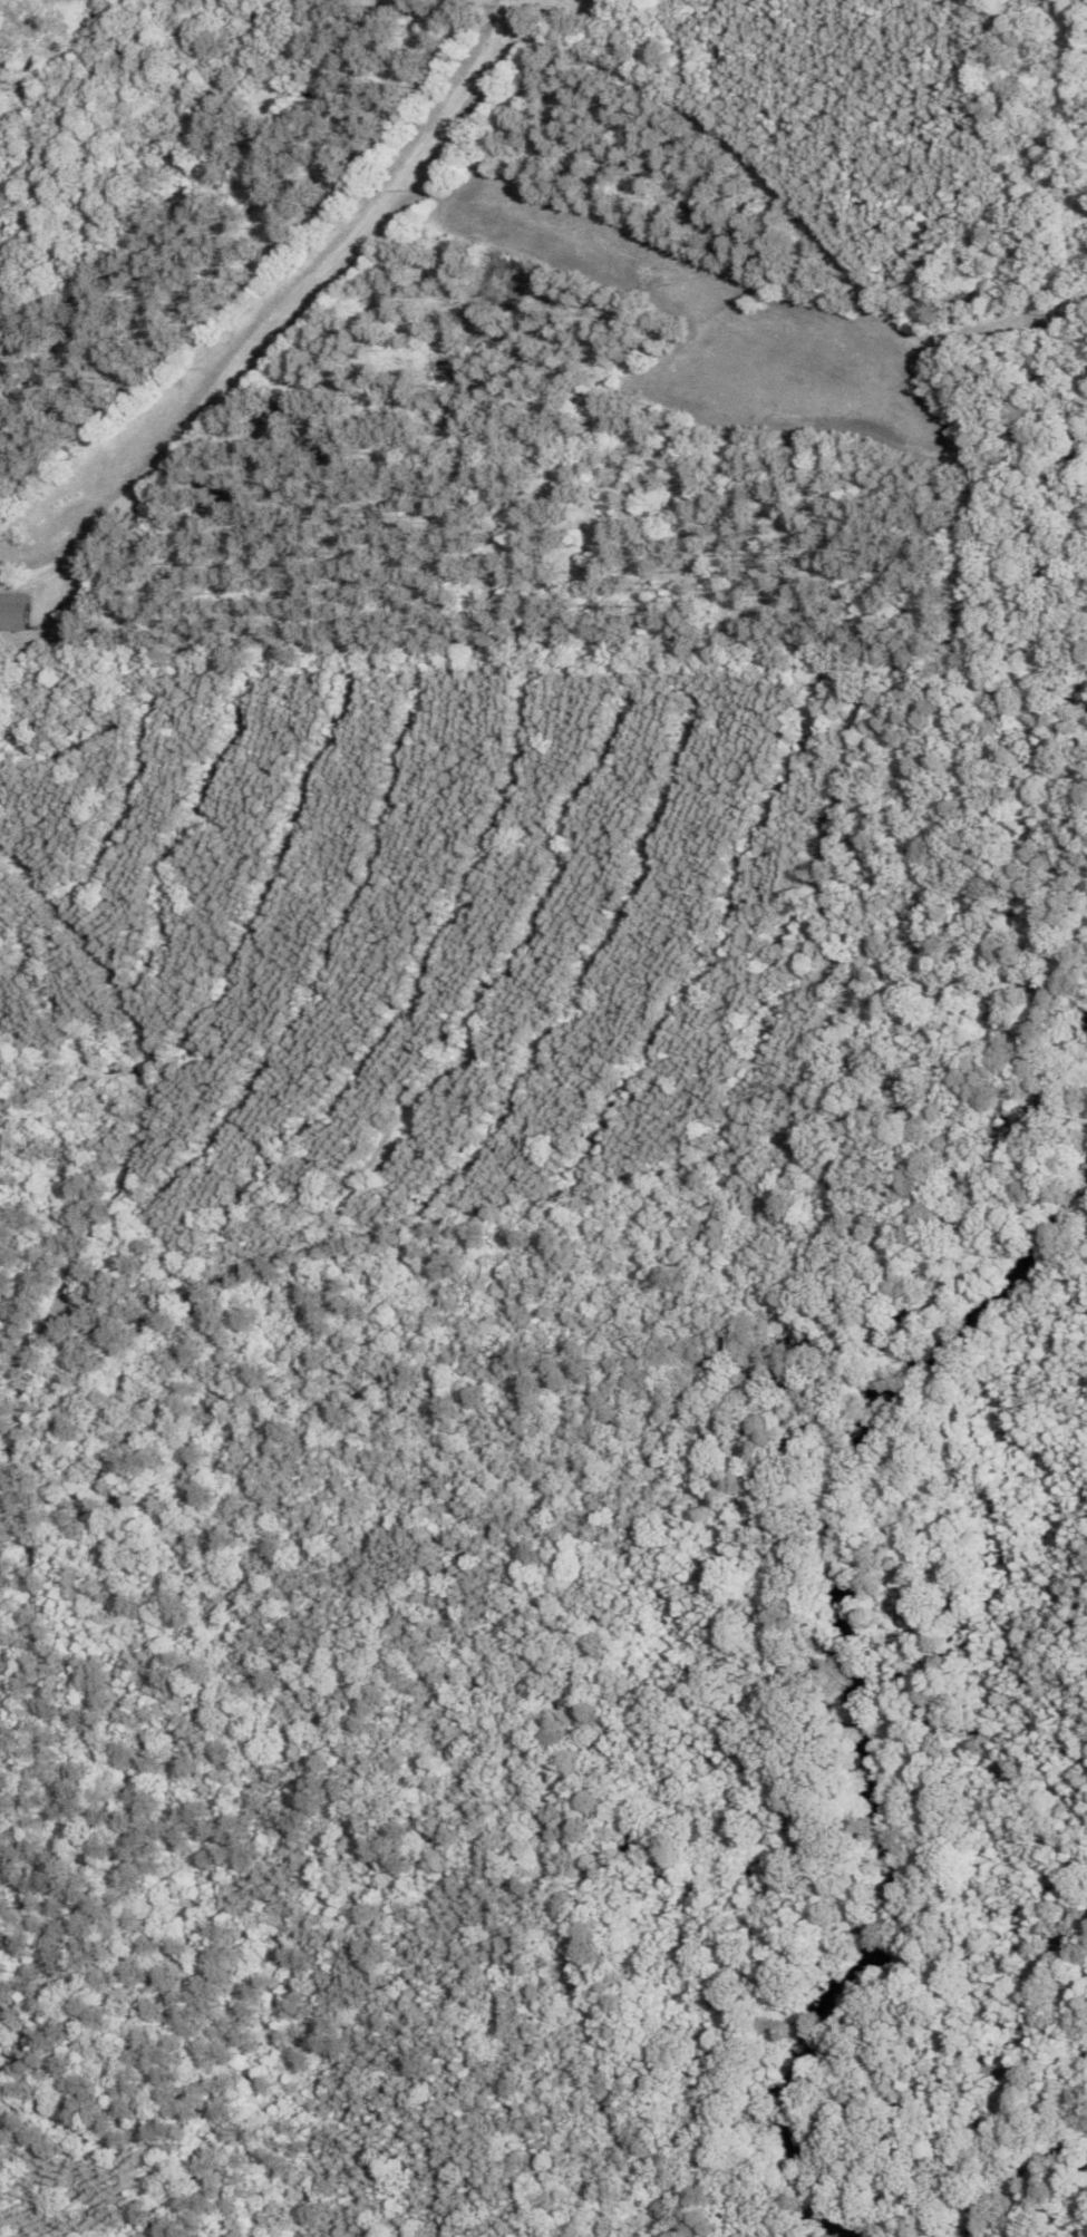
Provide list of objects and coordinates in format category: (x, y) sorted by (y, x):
road: (279, 317)
building: (18, 612)
road: (16, 1369)

